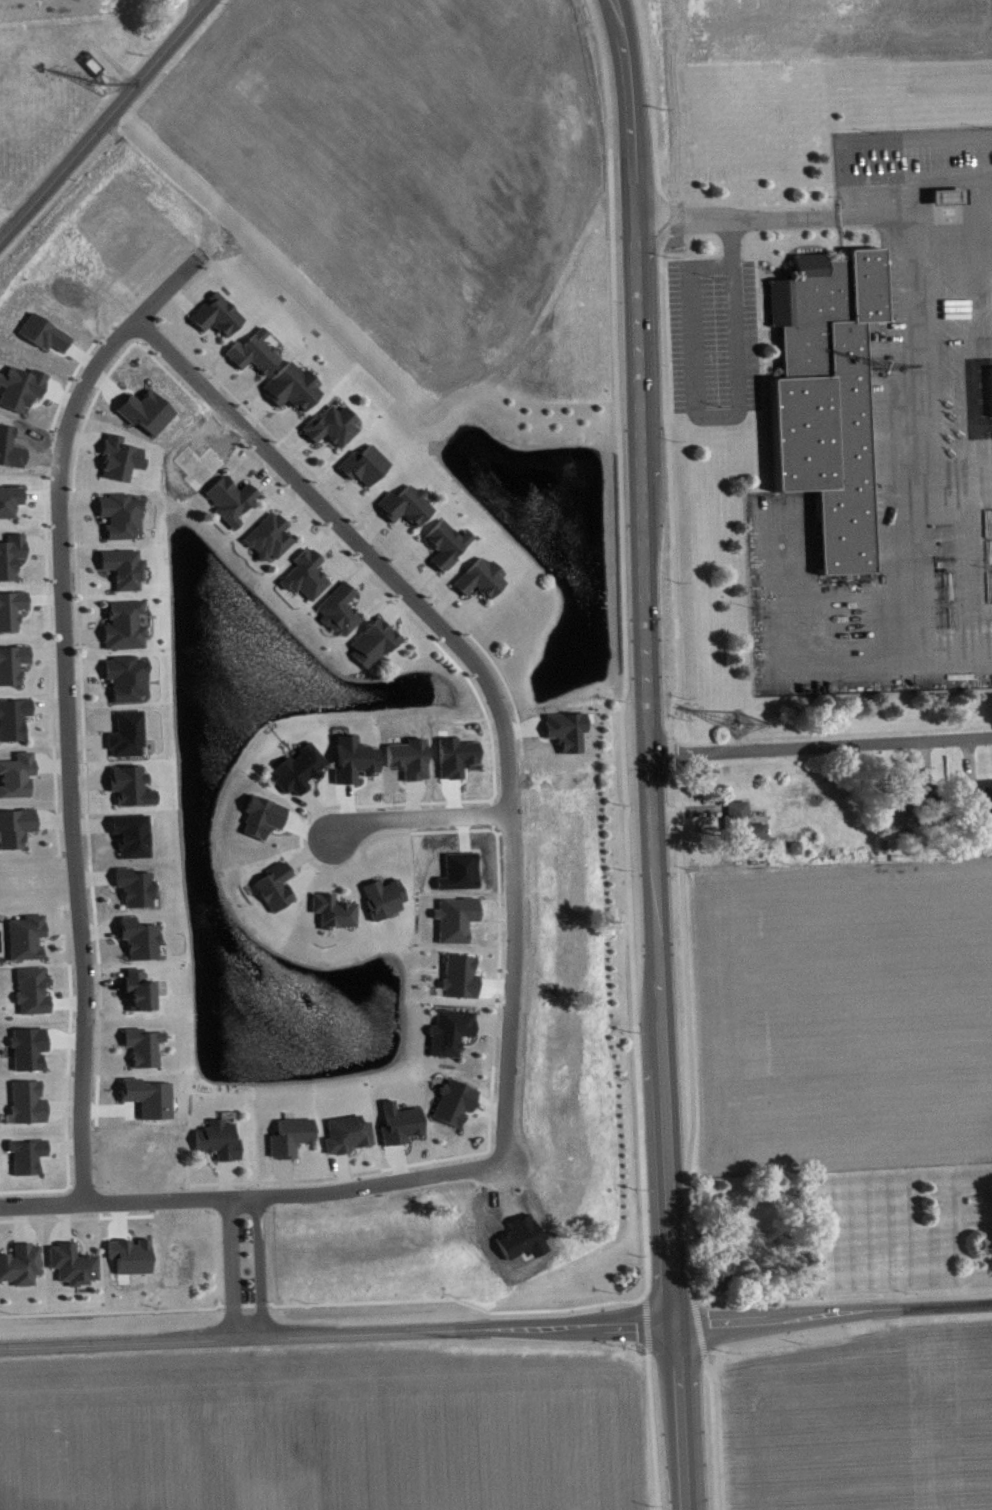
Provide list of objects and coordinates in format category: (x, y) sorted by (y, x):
road: (194, 5)
road: (621, 16)
road: (611, 17)
power tower: (103, 88)
road: (105, 121)
road: (954, 218)
road: (775, 223)
road: (180, 298)
building: (213, 313)
building: (45, 339)
building: (250, 350)
road: (661, 368)
road: (216, 375)
road: (924, 382)
building: (288, 385)
building: (21, 394)
building: (830, 403)
road: (254, 413)
building: (147, 417)
road: (728, 421)
building: (328, 424)
road: (81, 440)
road: (290, 450)
building: (116, 456)
building: (360, 463)
road: (262, 474)
road: (325, 485)
building: (226, 498)
building: (402, 503)
road: (292, 504)
road: (76, 506)
building: (11, 507)
building: (118, 514)
road: (368, 528)
building: (265, 535)
road: (326, 539)
building: (443, 543)
building: (9, 552)
road: (78, 559)
building: (120, 566)
road: (359, 572)
building: (303, 573)
building: (478, 577)
road: (418, 578)
road: (42, 597)
road: (441, 601)
building: (10, 607)
building: (336, 608)
road: (396, 609)
building: (121, 623)
road: (81, 632)
building: (371, 640)
road: (623, 645)
road: (45, 651)
building: (11, 661)
road: (82, 668)
road: (481, 674)
building: (123, 676)
road: (47, 705)
road: (66, 706)
building: (12, 717)
power tower: (740, 728)
building: (124, 732)
road: (85, 740)
road: (819, 744)
road: (668, 751)
building: (355, 766)
building: (296, 767)
road: (647, 771)
building: (15, 774)
road: (87, 781)
building: (128, 784)
building: (979, 799)
road: (317, 811)
road: (416, 818)
road: (52, 819)
building: (264, 823)
building: (14, 825)
building: (745, 834)
building: (134, 841)
road: (306, 851)
road: (354, 852)
building: (797, 854)
road: (327, 864)
building: (271, 884)
building: (138, 893)
building: (380, 896)
building: (329, 909)
road: (61, 926)
road: (98, 929)
building: (23, 935)
building: (137, 937)
building: (455, 975)
road: (102, 983)
road: (493, 983)
building: (136, 989)
building: (34, 996)
road: (490, 1028)
building: (446, 1030)
road: (687, 1032)
road: (102, 1036)
building: (140, 1045)
building: (31, 1054)
building: (24, 1100)
building: (450, 1100)
road: (62, 1107)
building: (402, 1130)
building: (343, 1132)
building: (287, 1135)
building: (215, 1138)
building: (28, 1162)
road: (342, 1170)
road: (285, 1176)
road: (222, 1178)
road: (250, 1196)
road: (61, 1221)
road: (18, 1223)
building: (988, 1248)
building: (133, 1262)
building: (19, 1263)
building: (69, 1263)
road: (259, 1267)
road: (230, 1268)
building: (718, 1282)
road: (645, 1321)
road: (696, 1326)
road: (496, 1329)
road: (651, 1429)
road: (712, 1431)

